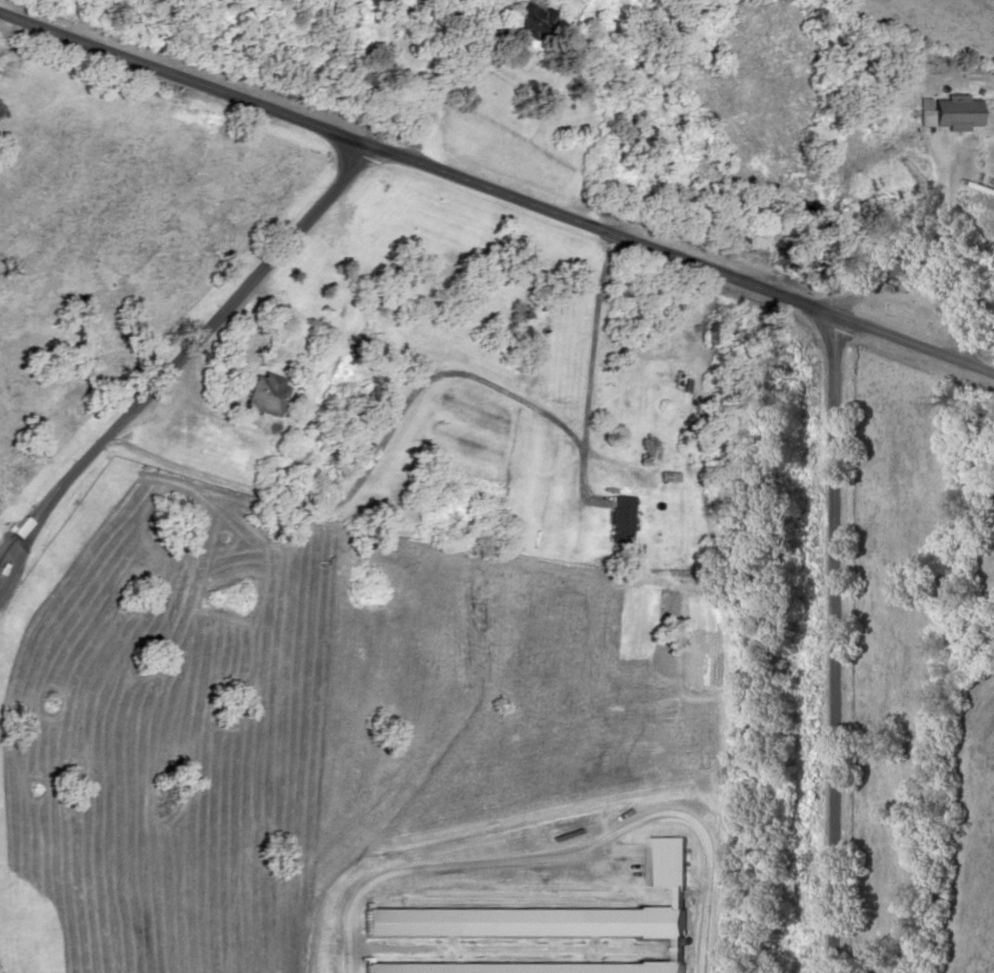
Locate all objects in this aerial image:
building: (528, 22)
road: (447, 76)
building: (957, 113)
road: (497, 191)
building: (899, 264)
road: (185, 346)
road: (413, 389)
building: (263, 392)
building: (620, 517)
road: (835, 645)
building: (546, 925)

